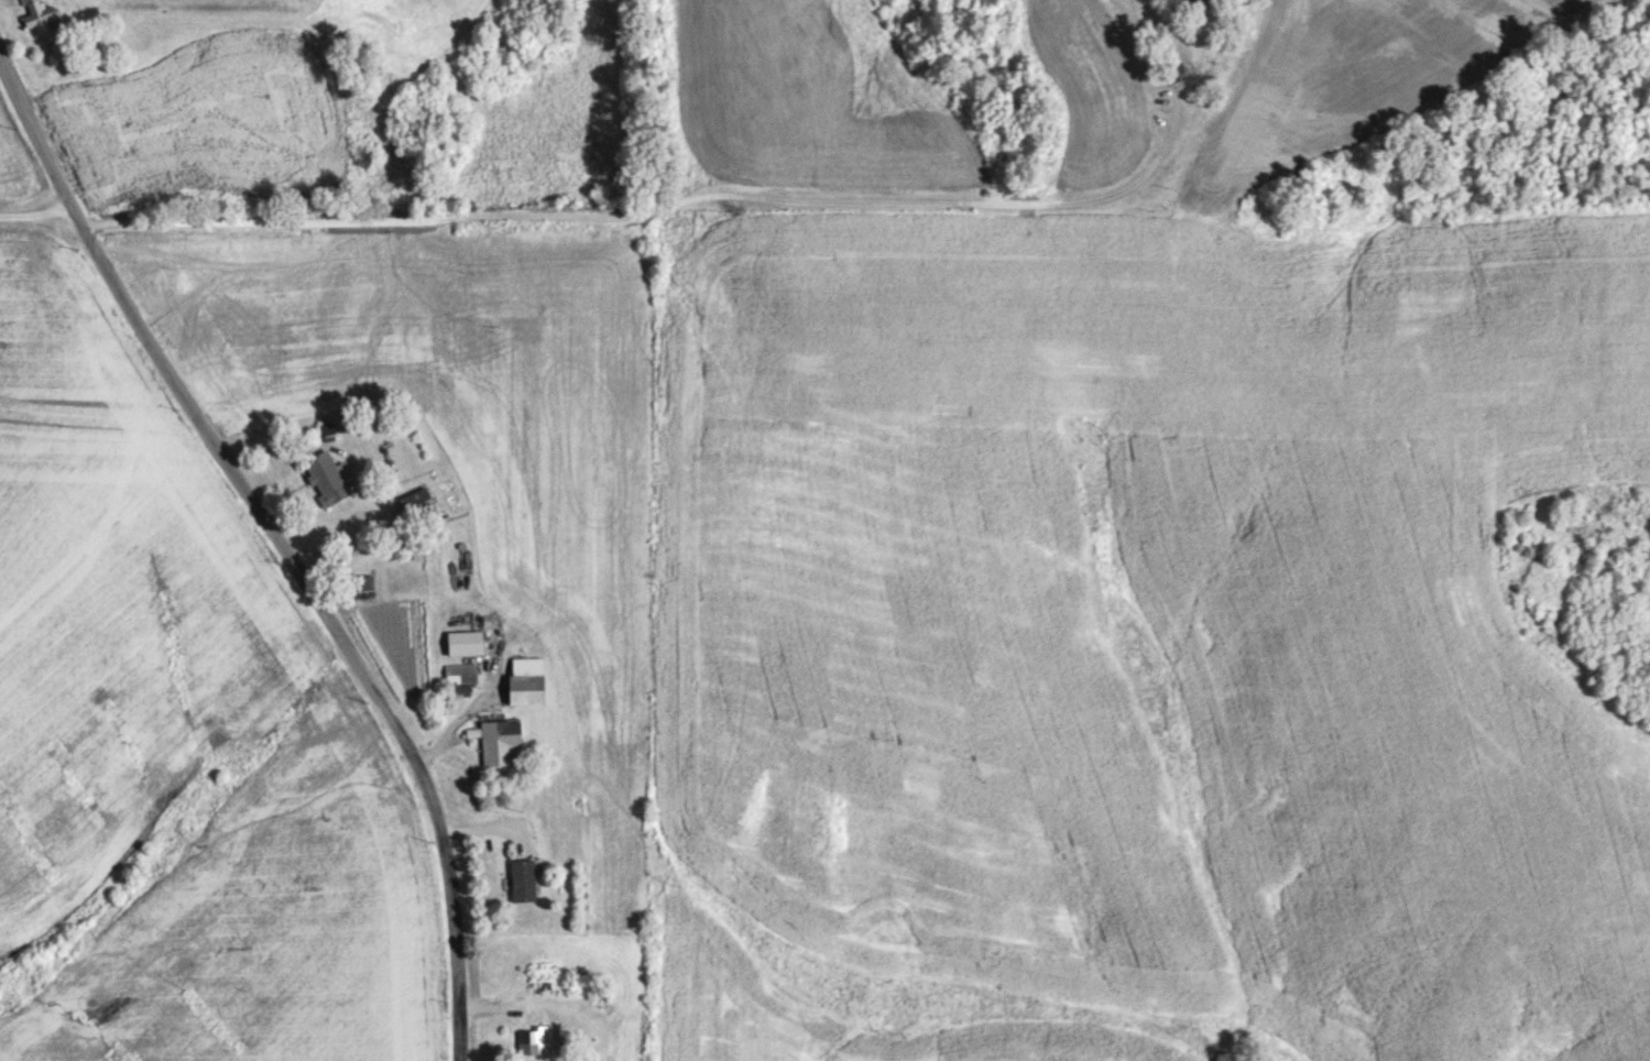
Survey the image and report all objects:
building: (1201, 8)
building: (37, 14)
road: (37, 211)
road: (695, 239)
building: (326, 478)
building: (419, 503)
road: (283, 540)
building: (362, 582)
building: (467, 642)
building: (461, 676)
building: (528, 679)
building: (501, 740)
building: (524, 876)
building: (533, 1039)

